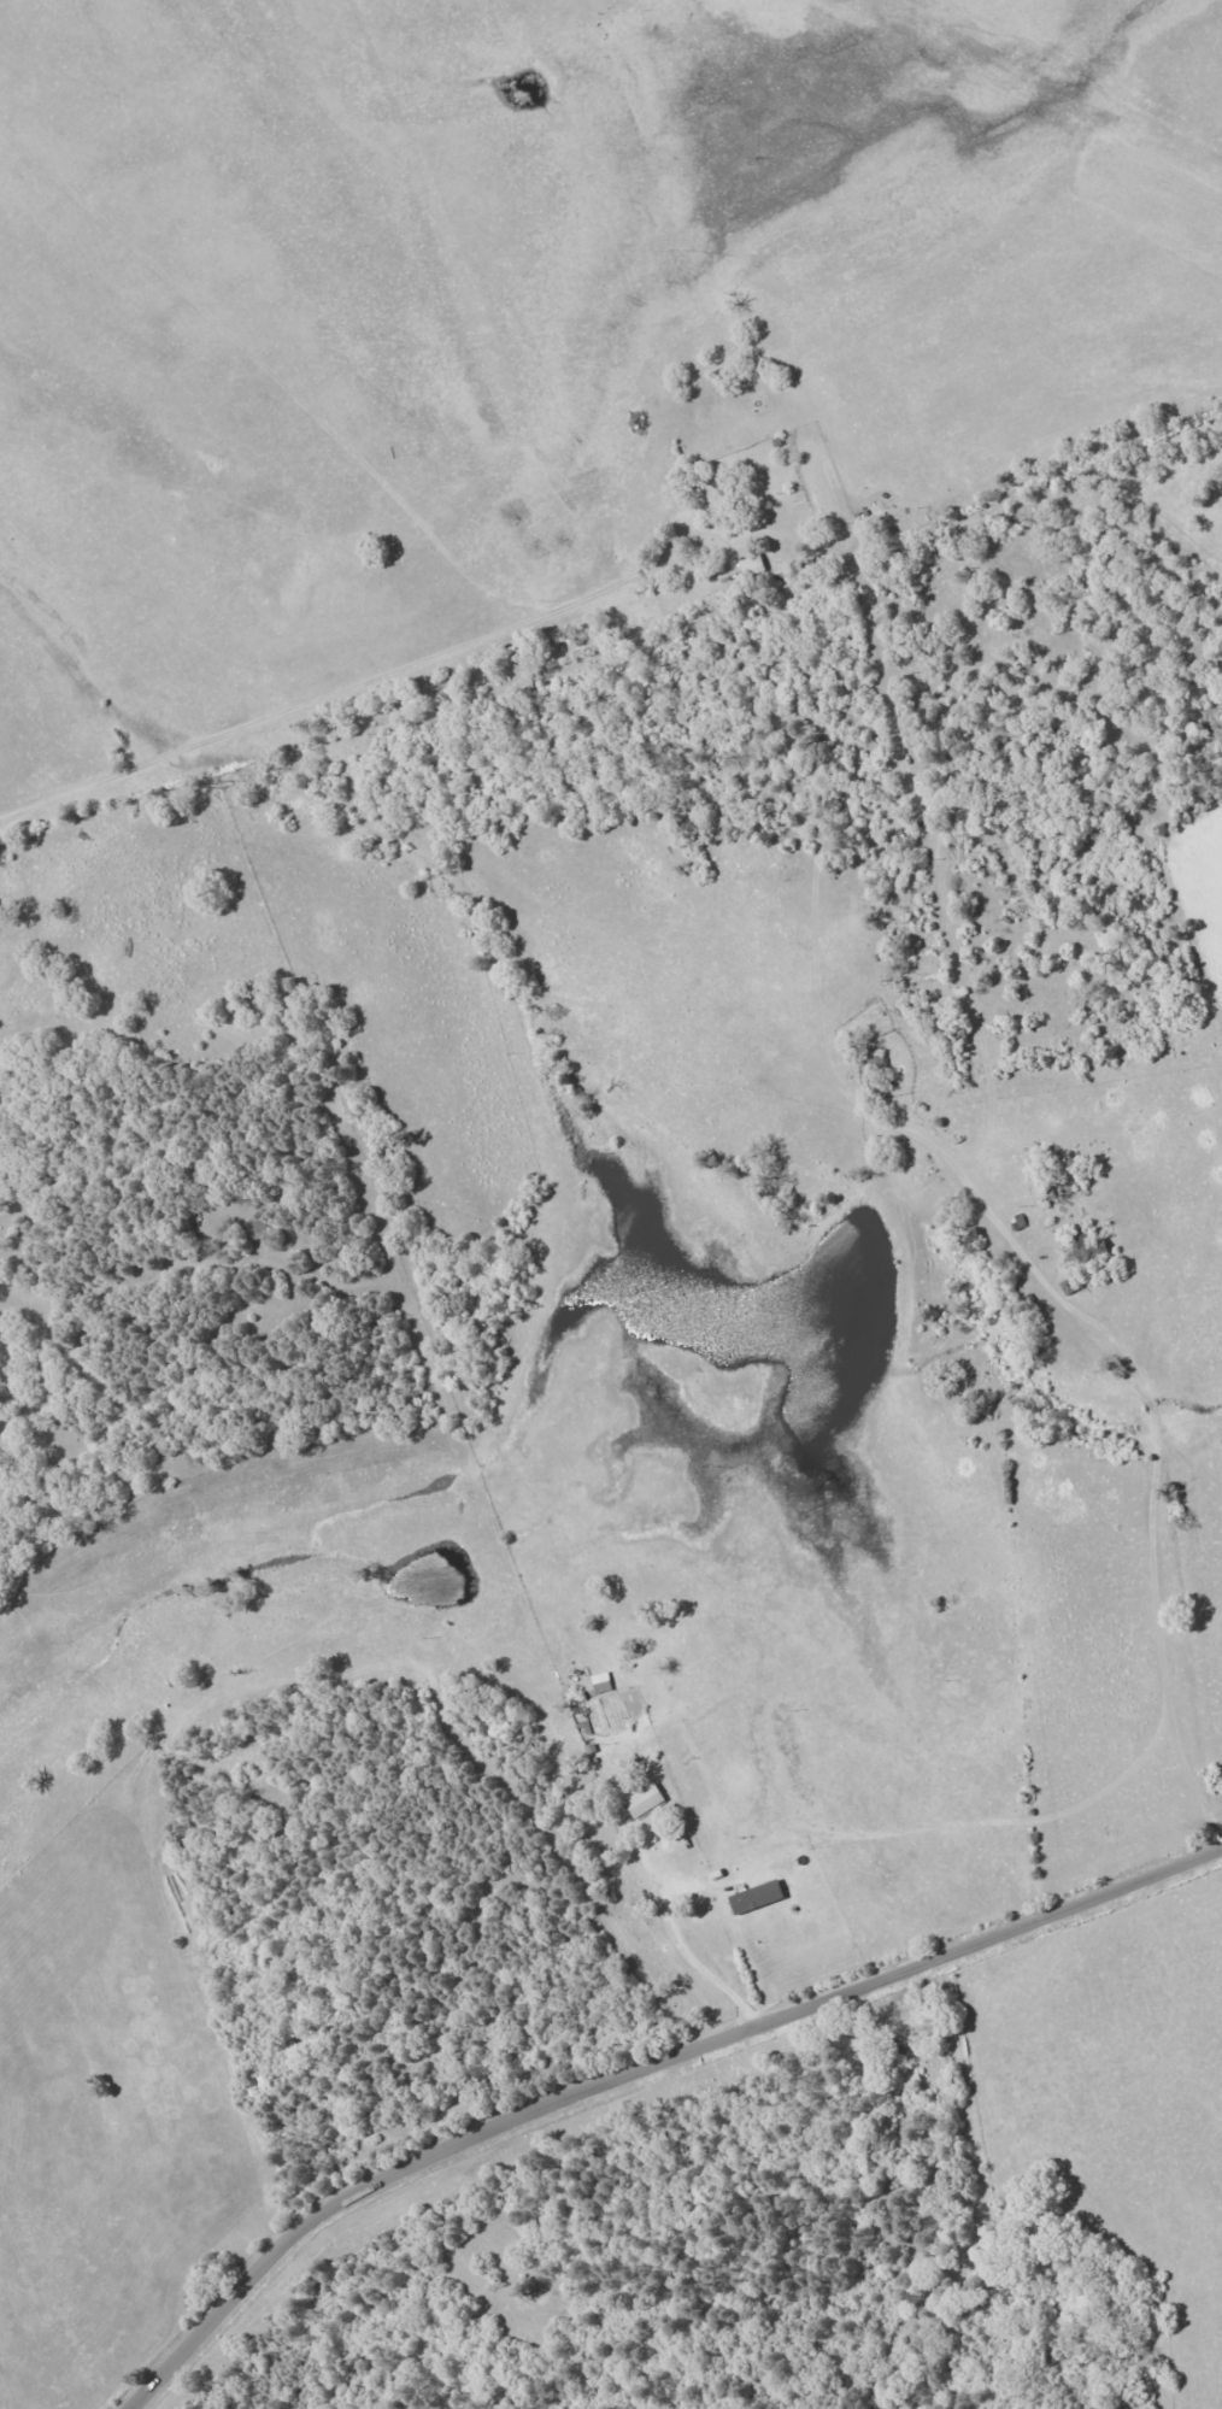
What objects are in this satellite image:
road: (729, 550)
road: (92, 624)
road: (331, 694)
building: (599, 1682)
building: (642, 1800)
building: (753, 1897)
road: (672, 1943)
road: (639, 2069)

